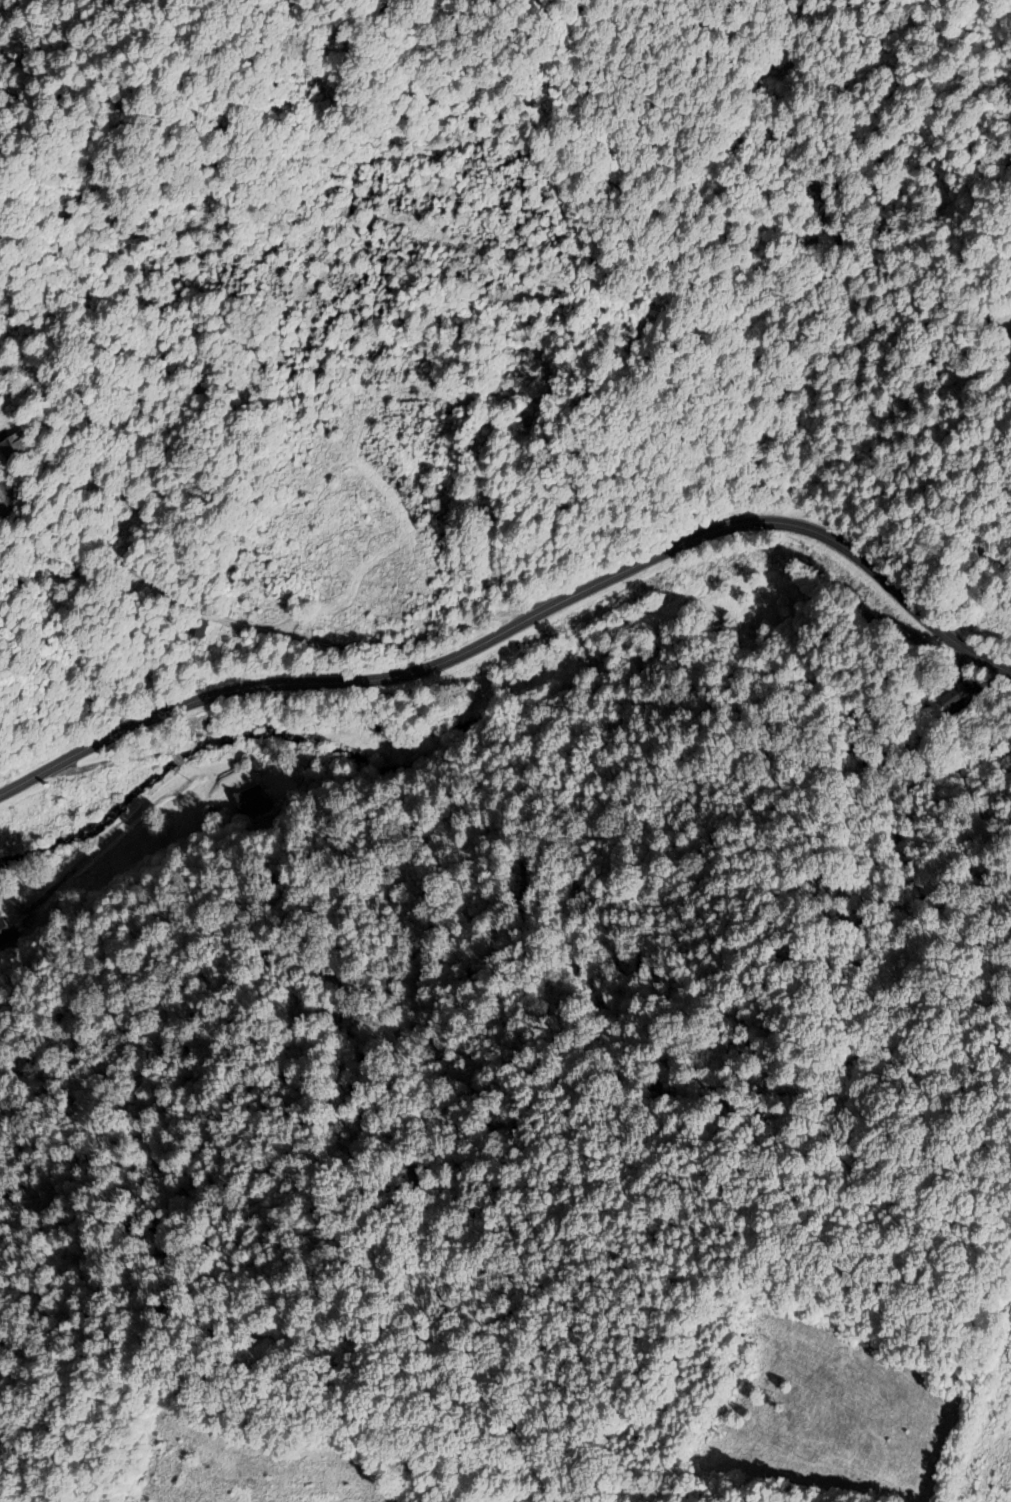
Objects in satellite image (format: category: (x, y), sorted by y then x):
building: (15, 448)
road: (5, 497)
road: (523, 622)
road: (257, 629)
building: (197, 630)
building: (962, 704)

